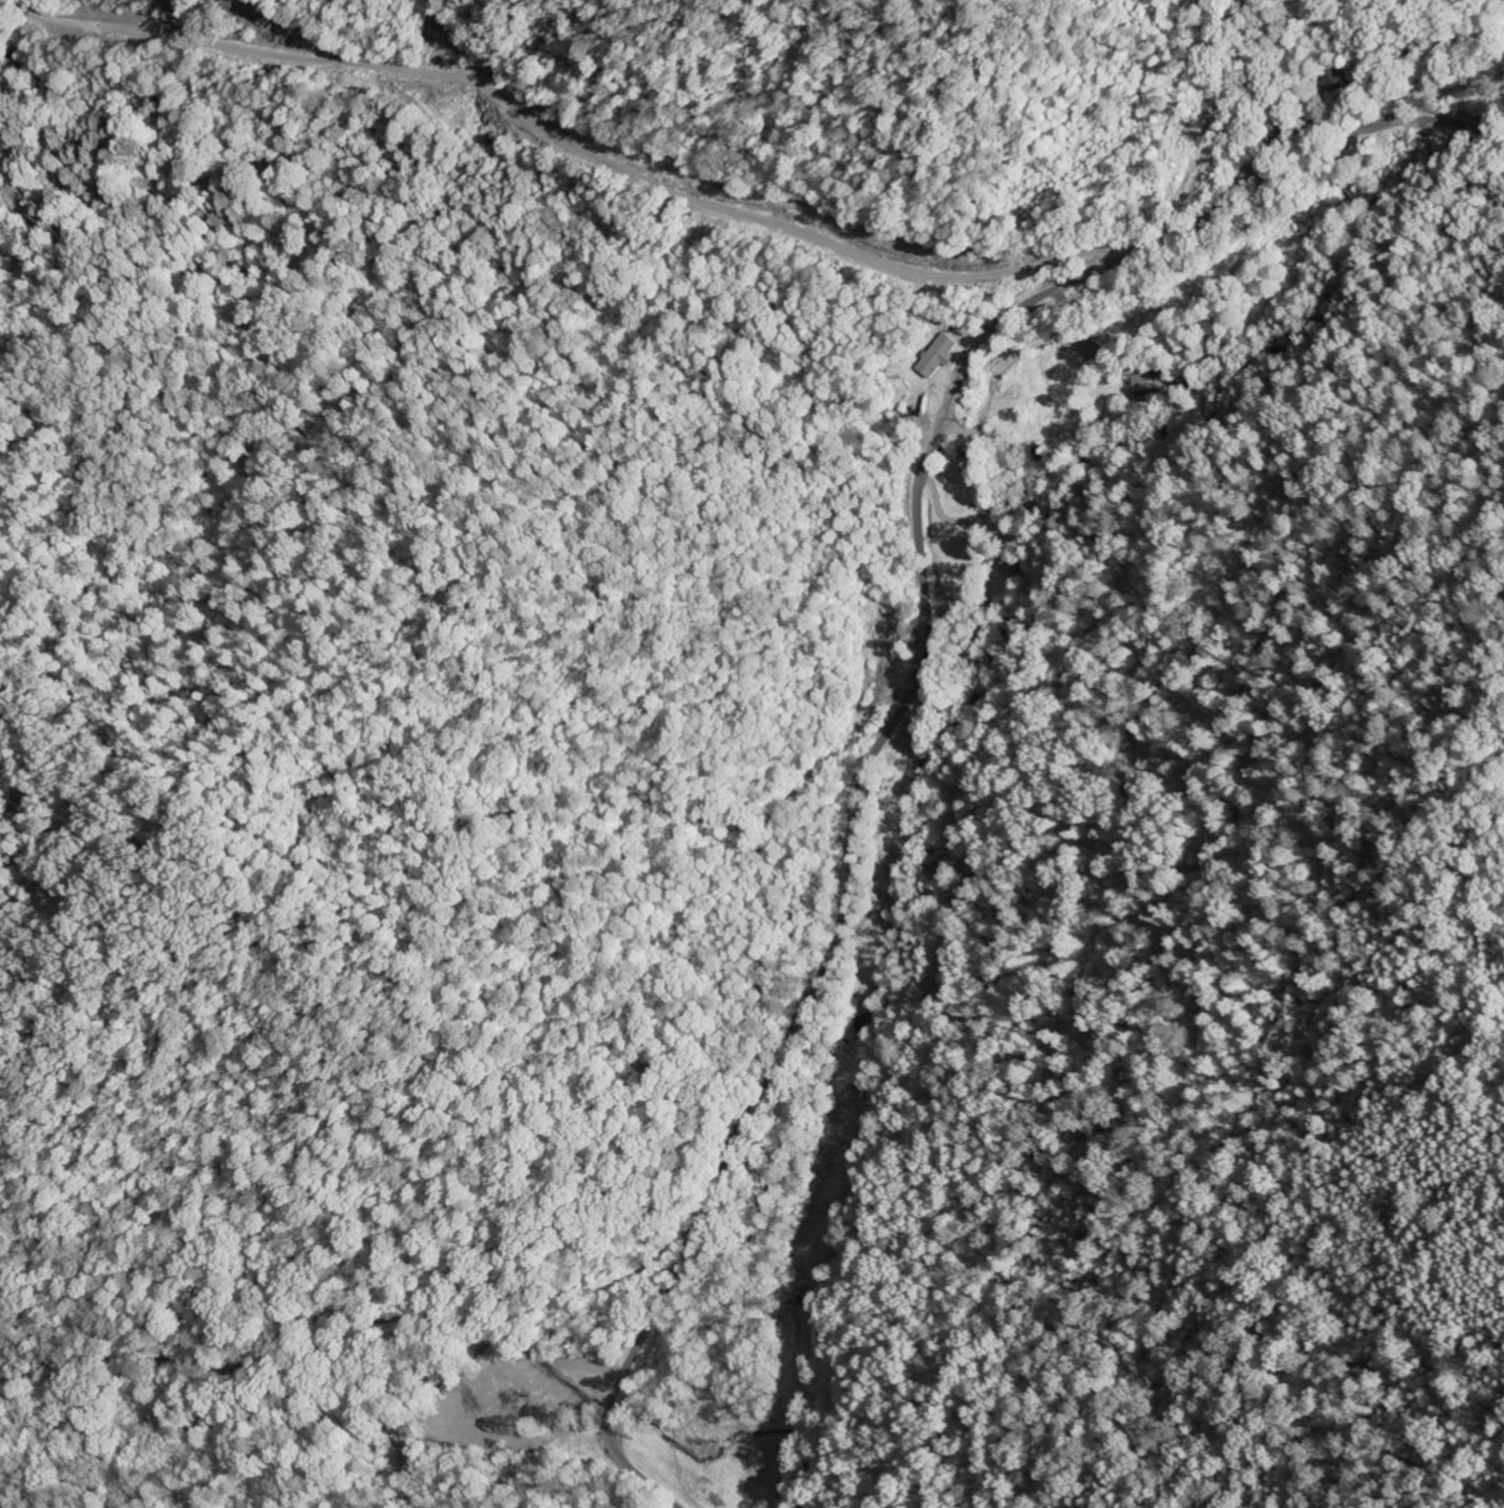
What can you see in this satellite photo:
road: (560, 144)
building: (936, 357)
road: (926, 665)

